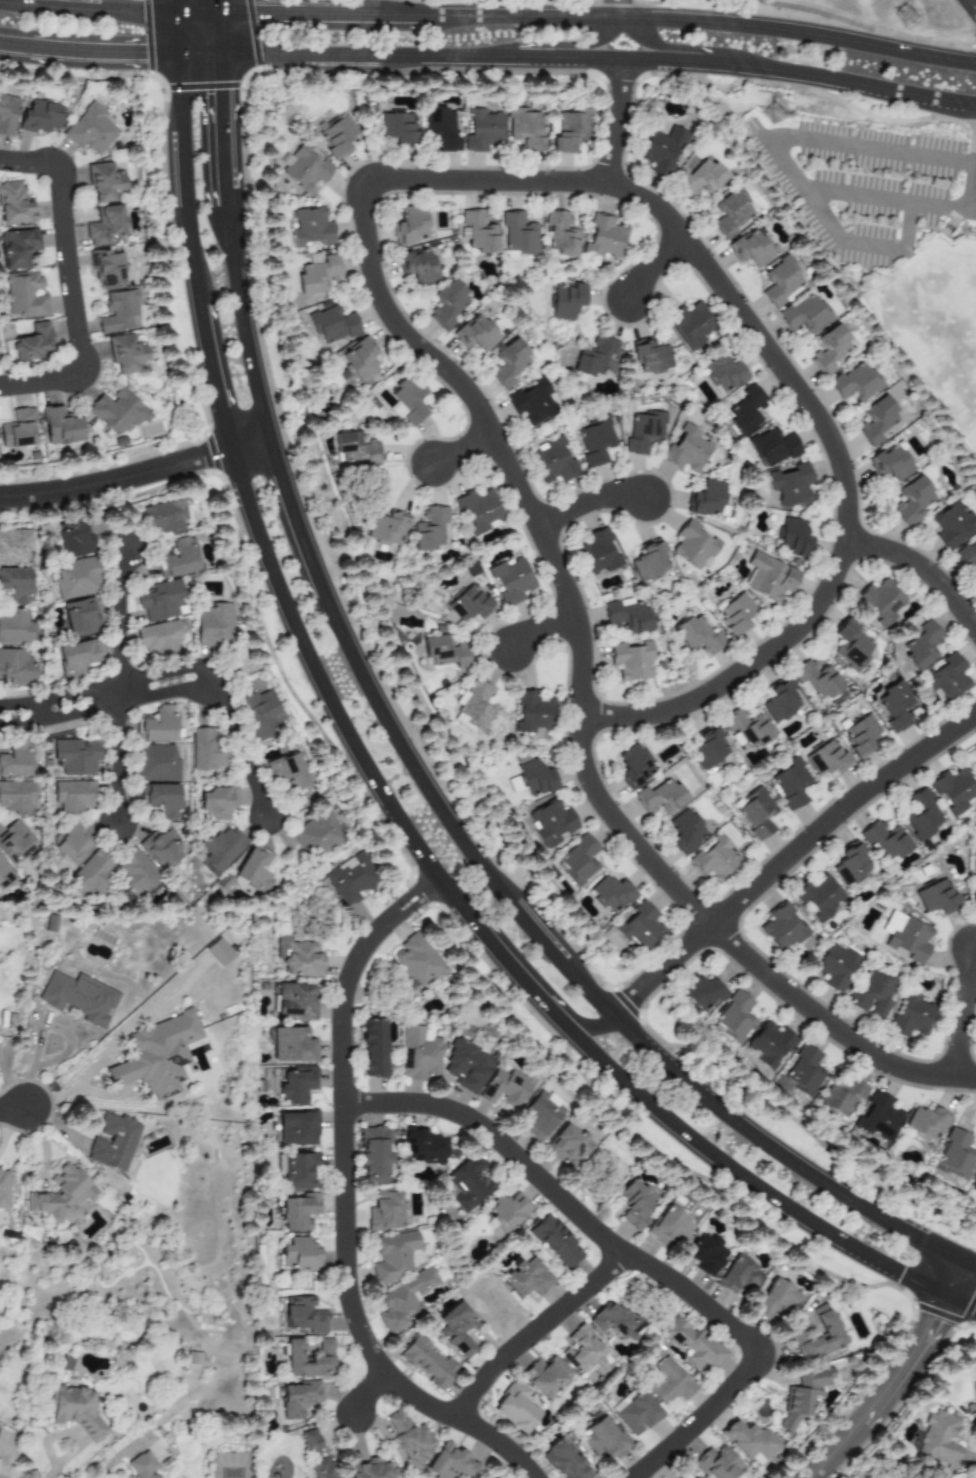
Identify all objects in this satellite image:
road: (972, 5)
road: (179, 6)
road: (217, 6)
road: (388, 7)
road: (612, 9)
road: (620, 9)
road: (86, 10)
road: (195, 12)
traffic signals: (262, 12)
road: (280, 12)
road: (383, 14)
road: (520, 16)
park: (884, 17)
power tower: (908, 17)
road: (217, 31)
road: (179, 32)
road: (797, 32)
road: (552, 45)
road: (678, 47)
road: (89, 50)
road: (199, 51)
traffic signals: (137, 53)
road: (347, 55)
road: (549, 57)
road: (800, 74)
traffic signals: (220, 98)
building: (7, 114)
power tower: (775, 114)
building: (40, 116)
road: (220, 120)
road: (618, 121)
building: (396, 128)
building: (440, 129)
building: (525, 129)
building: (568, 129)
building: (90, 130)
building: (481, 130)
building: (336, 137)
road: (772, 150)
building: (661, 151)
building: (305, 169)
road: (183, 179)
building: (700, 179)
building: (104, 182)
road: (224, 198)
road: (975, 200)
building: (14, 204)
road: (225, 207)
building: (730, 212)
building: (105, 225)
building: (410, 225)
building: (310, 228)
building: (477, 231)
building: (518, 235)
building: (560, 235)
building: (603, 237)
road: (859, 244)
building: (17, 247)
building: (749, 248)
road: (658, 265)
building: (417, 266)
building: (106, 269)
building: (317, 275)
building: (781, 282)
road: (68, 283)
building: (23, 295)
building: (566, 301)
building: (446, 305)
road: (383, 308)
building: (119, 312)
building: (804, 314)
road: (242, 323)
building: (331, 325)
building: (690, 325)
building: (474, 334)
building: (33, 344)
building: (829, 349)
building: (125, 353)
building: (650, 356)
building: (595, 357)
building: (358, 359)
building: (507, 363)
building: (725, 373)
road: (212, 377)
building: (855, 383)
building: (407, 401)
building: (532, 402)
building: (394, 410)
building: (746, 410)
building: (117, 411)
building: (877, 421)
building: (60, 426)
building: (18, 429)
building: (643, 432)
building: (593, 441)
road: (249, 442)
building: (353, 448)
building: (772, 448)
road: (460, 450)
building: (685, 450)
building: (551, 461)
building: (890, 464)
road: (117, 480)
building: (790, 484)
building: (707, 499)
building: (913, 501)
road: (587, 502)
building: (478, 511)
building: (166, 517)
road: (292, 517)
building: (953, 525)
building: (385, 528)
building: (427, 529)
building: (794, 538)
building: (73, 539)
building: (693, 545)
building: (15, 546)
building: (596, 553)
building: (967, 555)
building: (178, 558)
building: (648, 561)
road: (925, 572)
building: (769, 577)
building: (75, 578)
building: (510, 581)
building: (16, 585)
building: (161, 600)
building: (881, 602)
building: (469, 605)
building: (736, 614)
building: (627, 616)
building: (80, 617)
road: (118, 625)
building: (215, 625)
building: (17, 627)
road: (547, 630)
building: (698, 636)
building: (158, 639)
building: (850, 645)
building: (922, 646)
building: (444, 651)
road: (282, 652)
building: (76, 658)
building: (631, 661)
building: (16, 667)
road: (236, 675)
building: (946, 679)
building: (816, 680)
road: (110, 683)
road: (162, 692)
road: (328, 699)
building: (780, 702)
building: (474, 707)
building: (895, 707)
building: (532, 713)
building: (262, 714)
road: (58, 716)
building: (157, 725)
building: (747, 728)
building: (861, 735)
building: (974, 748)
road: (238, 749)
building: (709, 749)
building: (206, 751)
building: (75, 756)
building: (15, 759)
building: (827, 759)
building: (157, 763)
road: (115, 764)
building: (634, 767)
building: (288, 773)
building: (535, 778)
building: (791, 783)
building: (954, 790)
building: (73, 795)
building: (17, 797)
building: (660, 798)
building: (161, 800)
building: (217, 801)
building: (756, 813)
building: (921, 815)
building: (551, 823)
building: (685, 831)
building: (317, 834)
building: (885, 840)
building: (15, 842)
building: (71, 844)
building: (161, 847)
building: (220, 850)
road: (786, 857)
building: (716, 860)
building: (578, 861)
building: (851, 865)
building: (253, 869)
building: (92, 873)
building: (136, 873)
building: (5, 874)
building: (349, 879)
building: (611, 893)
building: (818, 896)
building: (974, 897)
building: (936, 898)
building: (49, 923)
building: (640, 927)
building: (783, 927)
building: (906, 937)
road: (735, 948)
building: (218, 952)
building: (303, 960)
building: (416, 962)
road: (508, 965)
building: (835, 967)
road: (582, 988)
building: (701, 993)
building: (872, 994)
building: (77, 996)
building: (294, 1001)
road: (962, 1013)
building: (910, 1016)
building: (733, 1019)
road: (578, 1020)
building: (770, 1044)
building: (292, 1045)
building: (373, 1048)
building: (419, 1052)
building: (468, 1064)
building: (804, 1072)
road: (115, 1073)
street lamp: (14, 1080)
building: (296, 1084)
building: (506, 1088)
road: (72, 1090)
road: (101, 1093)
building: (841, 1098)
road: (12, 1108)
building: (543, 1115)
building: (878, 1117)
building: (927, 1123)
building: (297, 1129)
building: (111, 1142)
building: (568, 1145)
building: (423, 1146)
building: (955, 1155)
building: (374, 1156)
building: (298, 1170)
road: (731, 1170)
building: (468, 1183)
building: (3, 1188)
building: (974, 1189)
building: (59, 1194)
road: (342, 1203)
building: (636, 1204)
building: (386, 1211)
building: (508, 1211)
building: (299, 1212)
building: (670, 1228)
building: (556, 1241)
building: (300, 1254)
building: (706, 1254)
building: (394, 1256)
road: (629, 1256)
road: (971, 1263)
traffic signals: (900, 1275)
building: (739, 1276)
building: (526, 1277)
road: (957, 1279)
building: (775, 1300)
building: (405, 1301)
road: (961, 1303)
building: (304, 1316)
traffic signals: (936, 1320)
building: (614, 1321)
building: (458, 1329)
road: (533, 1331)
building: (830, 1332)
building: (694, 1344)
building: (582, 1350)
building: (309, 1360)
building: (428, 1362)
road: (909, 1363)
building: (546, 1376)
building: (670, 1382)
road: (366, 1391)
building: (804, 1395)
building: (298, 1399)
building: (971, 1405)
building: (515, 1408)
building: (77, 1411)
building: (636, 1412)
building: (938, 1438)
building: (409, 1439)
building: (605, 1440)
building: (750, 1441)
road: (835, 1450)
building: (316, 1453)
building: (564, 1461)
building: (448, 1463)
building: (718, 1463)
building: (140, 1468)
building: (369, 1469)
building: (696, 1477)

